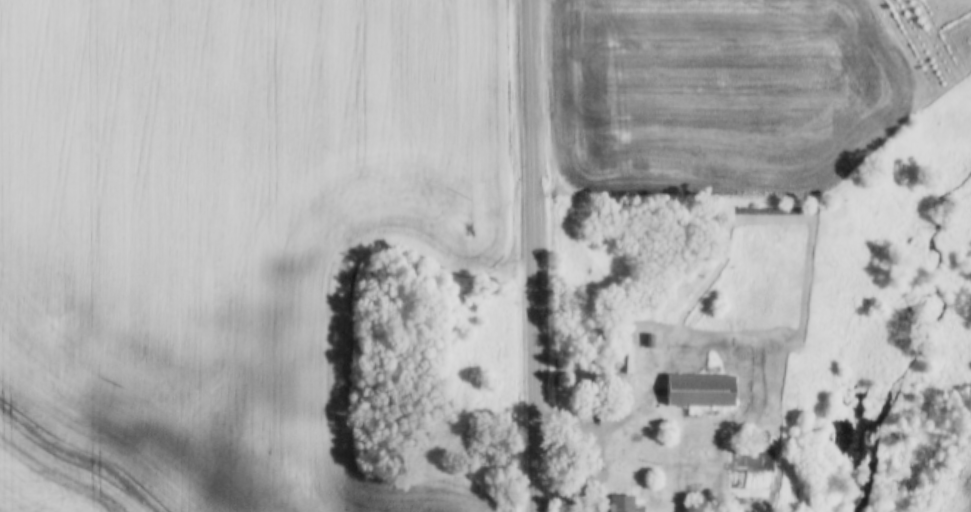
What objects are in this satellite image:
road: (532, 255)
building: (696, 390)
road: (604, 425)
building: (617, 504)

